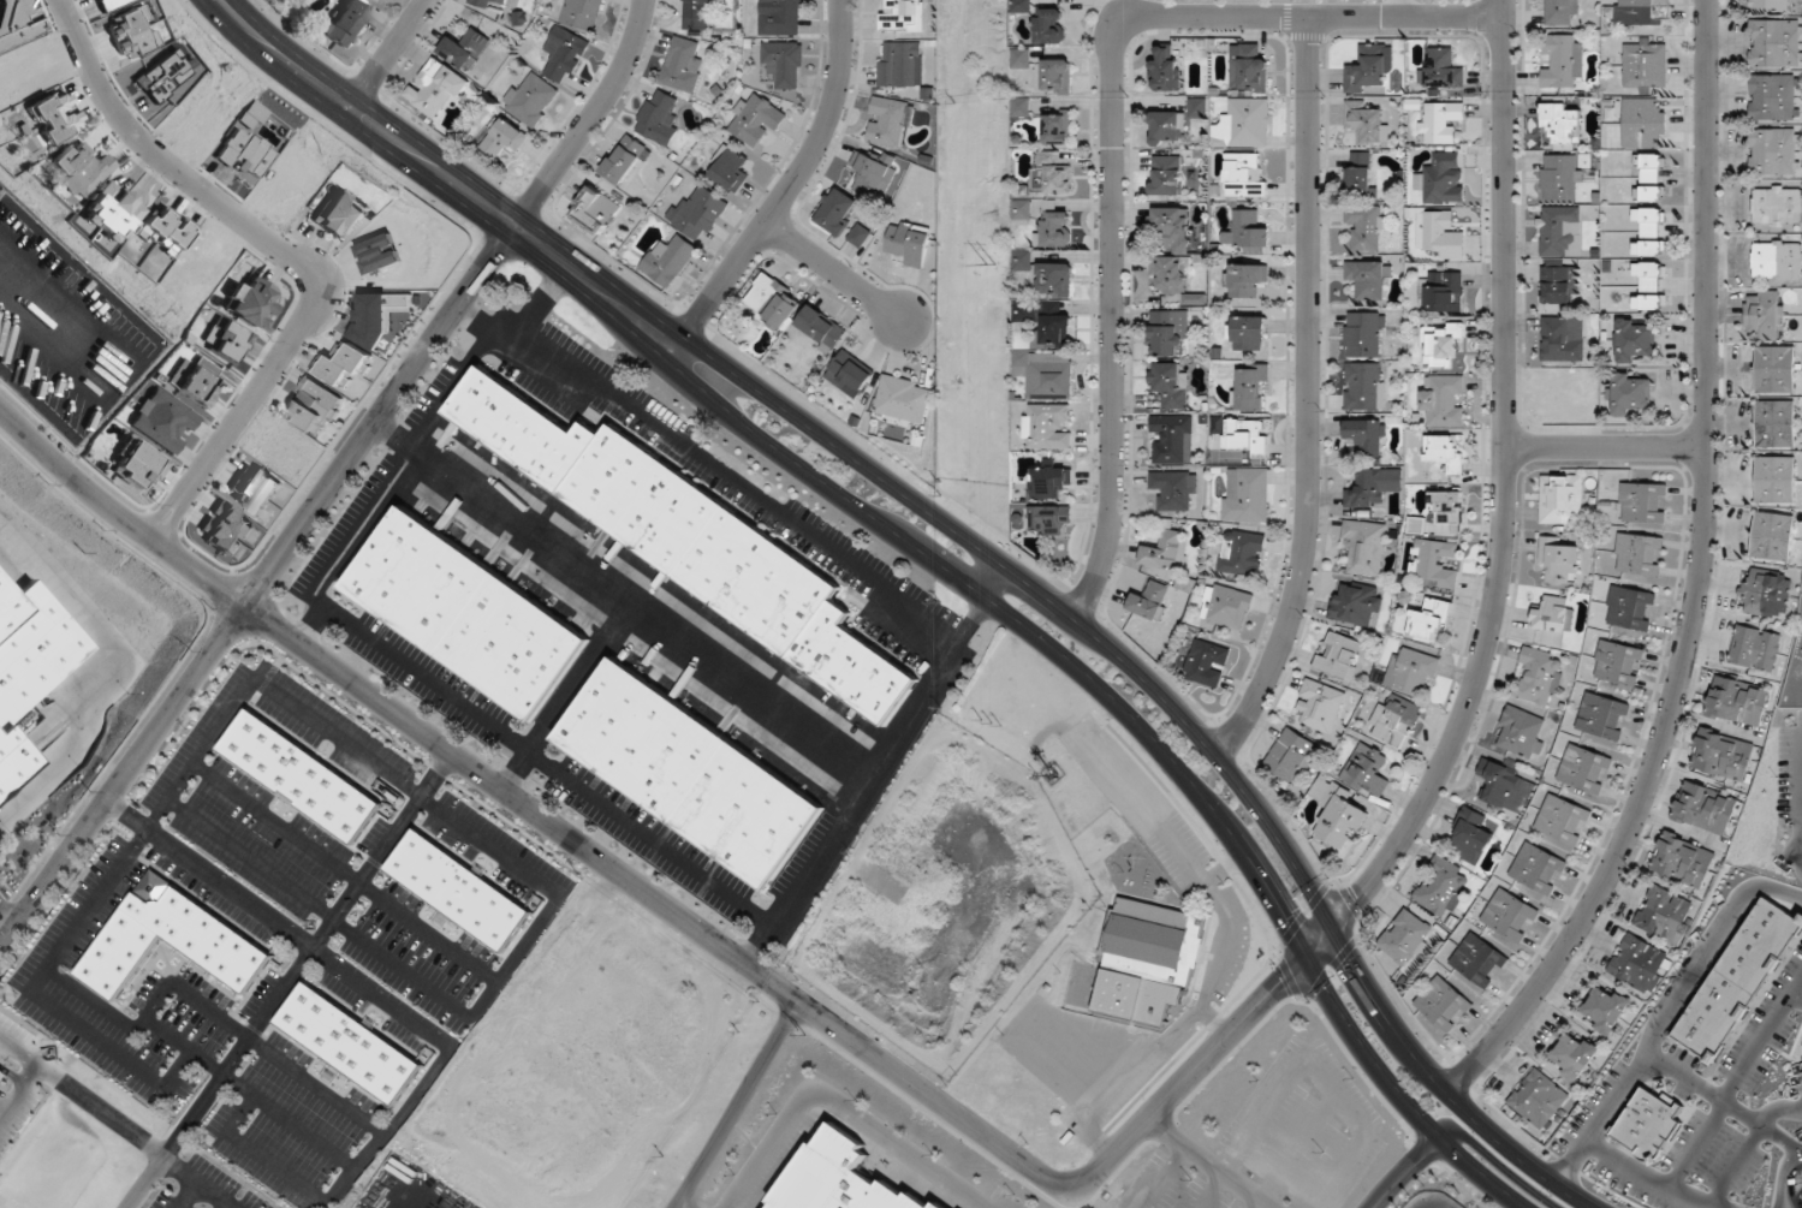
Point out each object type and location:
building: (382, 0)
building: (486, 2)
building: (1770, 6)
building: (1641, 12)
building: (582, 13)
road: (1123, 13)
building: (1559, 13)
building: (696, 14)
building: (900, 16)
building: (780, 18)
building: (345, 23)
building: (1048, 26)
building: (135, 34)
building: (1774, 43)
building: (465, 48)
road: (386, 53)
building: (564, 54)
building: (1019, 59)
building: (1562, 61)
building: (783, 65)
building: (899, 66)
building: (1645, 66)
building: (682, 67)
building: (1248, 69)
building: (1441, 70)
building: (1369, 71)
building: (1164, 72)
building: (1055, 77)
building: (436, 87)
building: (529, 99)
building: (1773, 99)
building: (54, 117)
building: (658, 118)
building: (755, 120)
building: (1366, 123)
building: (1440, 123)
building: (887, 124)
building: (1174, 124)
building: (1244, 124)
building: (1642, 125)
building: (1560, 127)
building: (1057, 129)
road: (1112, 135)
building: (504, 139)
building: (1774, 151)
building: (624, 160)
building: (728, 168)
building: (82, 171)
building: (1360, 173)
road: (444, 174)
building: (870, 174)
building: (1051, 175)
building: (1165, 177)
building: (1243, 177)
building: (1560, 178)
building: (1649, 178)
building: (1443, 179)
road: (789, 188)
building: (1777, 206)
building: (595, 210)
building: (1021, 210)
building: (837, 212)
building: (698, 213)
building: (339, 218)
building: (1173, 227)
building: (1054, 228)
building: (1364, 228)
building: (163, 232)
building: (1247, 232)
building: (1559, 232)
building: (1649, 232)
building: (1440, 234)
building: (860, 236)
building: (908, 244)
road: (281, 254)
building: (1019, 257)
building: (1777, 260)
building: (668, 261)
road: (832, 270)
building: (1168, 274)
building: (1367, 279)
building: (1052, 280)
building: (1245, 280)
building: (1559, 285)
building: (1648, 286)
building: (1443, 292)
building: (773, 300)
building: (250, 303)
building: (1765, 315)
building: (1043, 326)
building: (821, 327)
building: (1167, 333)
building: (1247, 334)
building: (1364, 335)
building: (1560, 339)
building: (1636, 343)
building: (1440, 346)
building: (345, 368)
building: (1776, 369)
building: (850, 373)
building: (1048, 376)
building: (1170, 385)
building: (196, 387)
building: (1250, 387)
building: (1364, 387)
building: (1631, 394)
road: (1308, 398)
building: (903, 400)
building: (1444, 401)
building: (313, 406)
building: (162, 421)
building: (1776, 424)
building: (1047, 427)
building: (1245, 436)
building: (1366, 438)
building: (1171, 440)
road: (1605, 446)
building: (1445, 453)
building: (136, 465)
road: (335, 480)
building: (1776, 480)
building: (1048, 481)
road: (1504, 484)
building: (1374, 488)
building: (255, 489)
building: (1174, 490)
building: (1245, 495)
building: (1560, 500)
building: (1642, 506)
building: (1445, 507)
building: (1048, 520)
building: (1416, 525)
building: (1772, 536)
building: (688, 538)
building: (1366, 547)
building: (1164, 552)
building: (1242, 553)
building: (1639, 555)
building: (1558, 560)
building: (1434, 564)
road: (986, 577)
road: (1697, 578)
building: (1764, 594)
building: (1150, 600)
building: (1355, 603)
building: (1226, 607)
building: (1630, 609)
building: (464, 613)
building: (1552, 615)
building: (1429, 621)
building: (31, 648)
building: (1754, 648)
building: (1338, 656)
building: (1207, 663)
building: (1617, 667)
road: (105, 668)
building: (1410, 671)
building: (1540, 677)
building: (1736, 702)
building: (1319, 706)
building: (1602, 718)
road: (1187, 722)
building: (1394, 722)
building: (1521, 733)
road: (1144, 734)
road: (1801, 736)
building: (1290, 755)
building: (1721, 756)
building: (11, 758)
building: (1586, 769)
building: (686, 772)
building: (1367, 772)
building: (298, 774)
building: (1505, 787)
road: (1800, 803)
building: (1705, 809)
road: (534, 810)
building: (1338, 814)
road: (1801, 816)
building: (1563, 821)
building: (1470, 837)
building: (1682, 861)
building: (1538, 869)
building: (1444, 888)
building: (457, 889)
traffic signals: (1357, 898)
road: (8, 912)
traffic signals: (1285, 914)
building: (1664, 914)
building: (1509, 918)
road: (278, 924)
building: (166, 938)
building: (1406, 939)
building: (1479, 960)
building: (1149, 963)
traffic signals: (1354, 964)
building: (1636, 964)
road: (290, 980)
building: (1736, 982)
traffic signals: (1280, 984)
road: (1796, 999)
building: (1444, 1005)
building: (1605, 1010)
road: (1664, 1012)
building: (345, 1041)
road: (1209, 1057)
road: (1306, 1057)
building: (1572, 1057)
road: (1735, 1084)
road: (316, 1087)
building: (1539, 1100)
road: (736, 1103)
road: (1725, 1103)
road: (841, 1106)
road: (289, 1121)
building: (1647, 1125)
road: (392, 1126)
road: (1750, 1147)
road: (1295, 1152)
road: (258, 1154)
road: (1211, 1164)
road: (1500, 1167)
road: (1404, 1173)
road: (1783, 1176)
road: (1165, 1177)
building: (839, 1179)
road: (1647, 1179)
road: (1791, 1185)
road: (1800, 1202)
road: (683, 1204)

